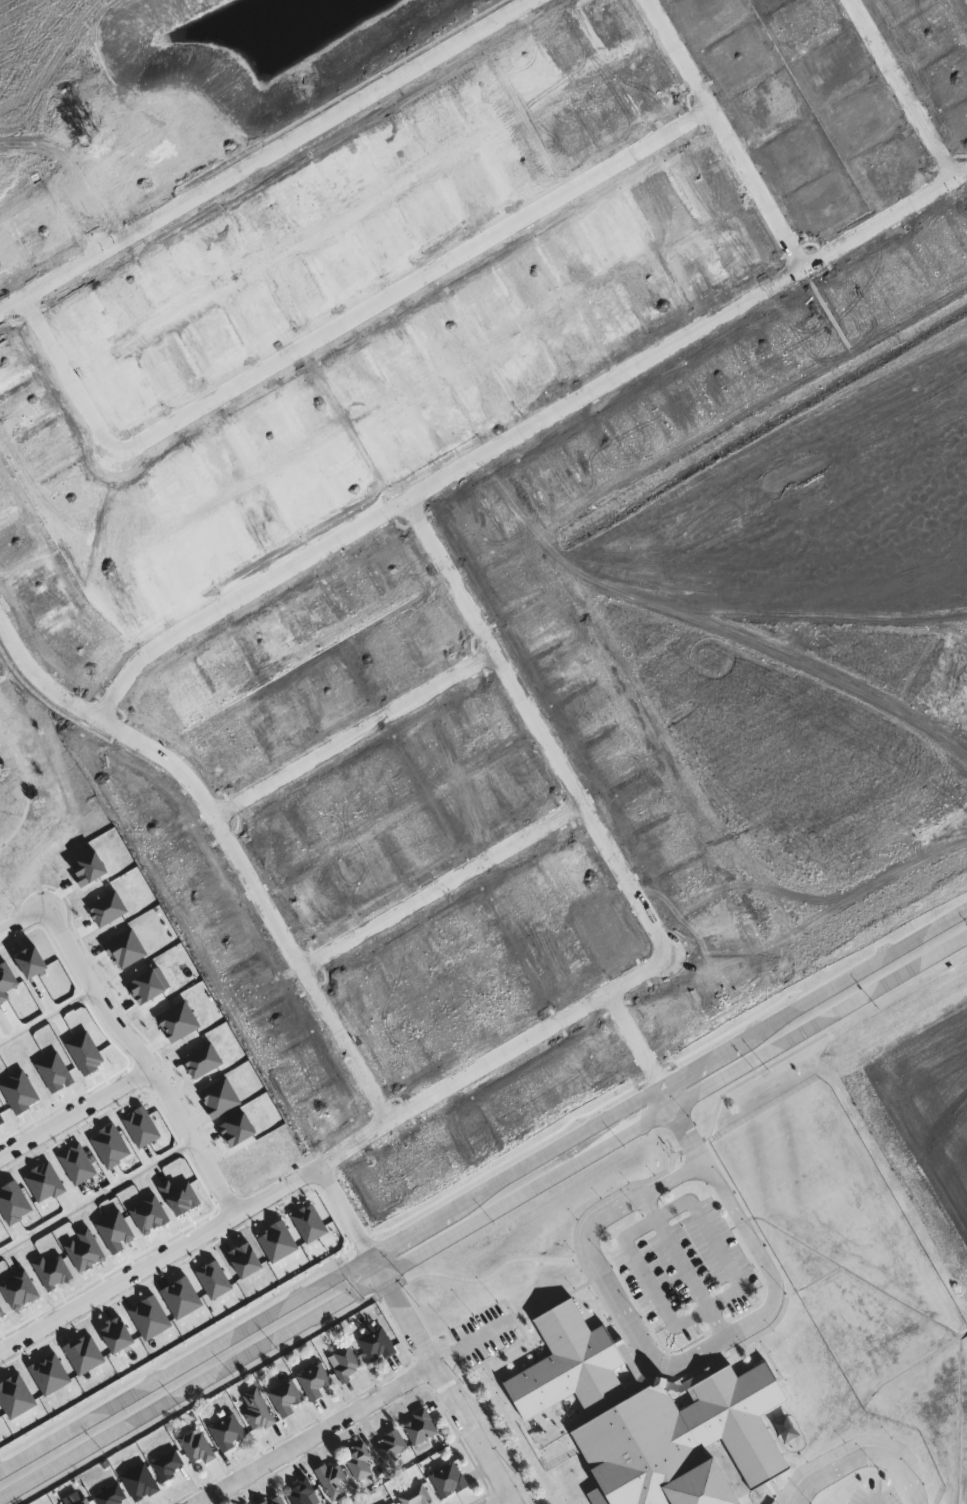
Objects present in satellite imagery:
road: (906, 86)
road: (732, 130)
road: (264, 154)
road: (338, 325)
road: (526, 430)
road: (357, 728)
road: (28, 788)
road: (230, 834)
road: (445, 880)
road: (647, 903)
road: (7, 908)
road: (47, 1015)
road: (639, 1034)
road: (126, 1036)
road: (76, 1111)
road: (683, 1121)
road: (483, 1190)
road: (97, 1196)
road: (345, 1209)
road: (483, 1216)
road: (159, 1256)
road: (685, 1267)
parking lot: (690, 1274)
road: (706, 1307)
road: (758, 1322)
parking lot: (487, 1338)
building: (378, 1345)
building: (346, 1364)
road: (441, 1379)
building: (315, 1381)
building: (288, 1399)
building: (258, 1411)
building: (648, 1419)
building: (421, 1428)
building: (228, 1433)
road: (315, 1435)
building: (392, 1446)
building: (197, 1447)
road: (861, 1457)
building: (360, 1463)
building: (169, 1466)
building: (449, 1480)
building: (334, 1481)
building: (140, 1483)
building: (303, 1493)
parking lot: (875, 1495)
building: (112, 1496)
building: (417, 1496)
building: (276, 1500)
road: (504, 1501)
road: (875, 1501)
building: (84, 1502)

